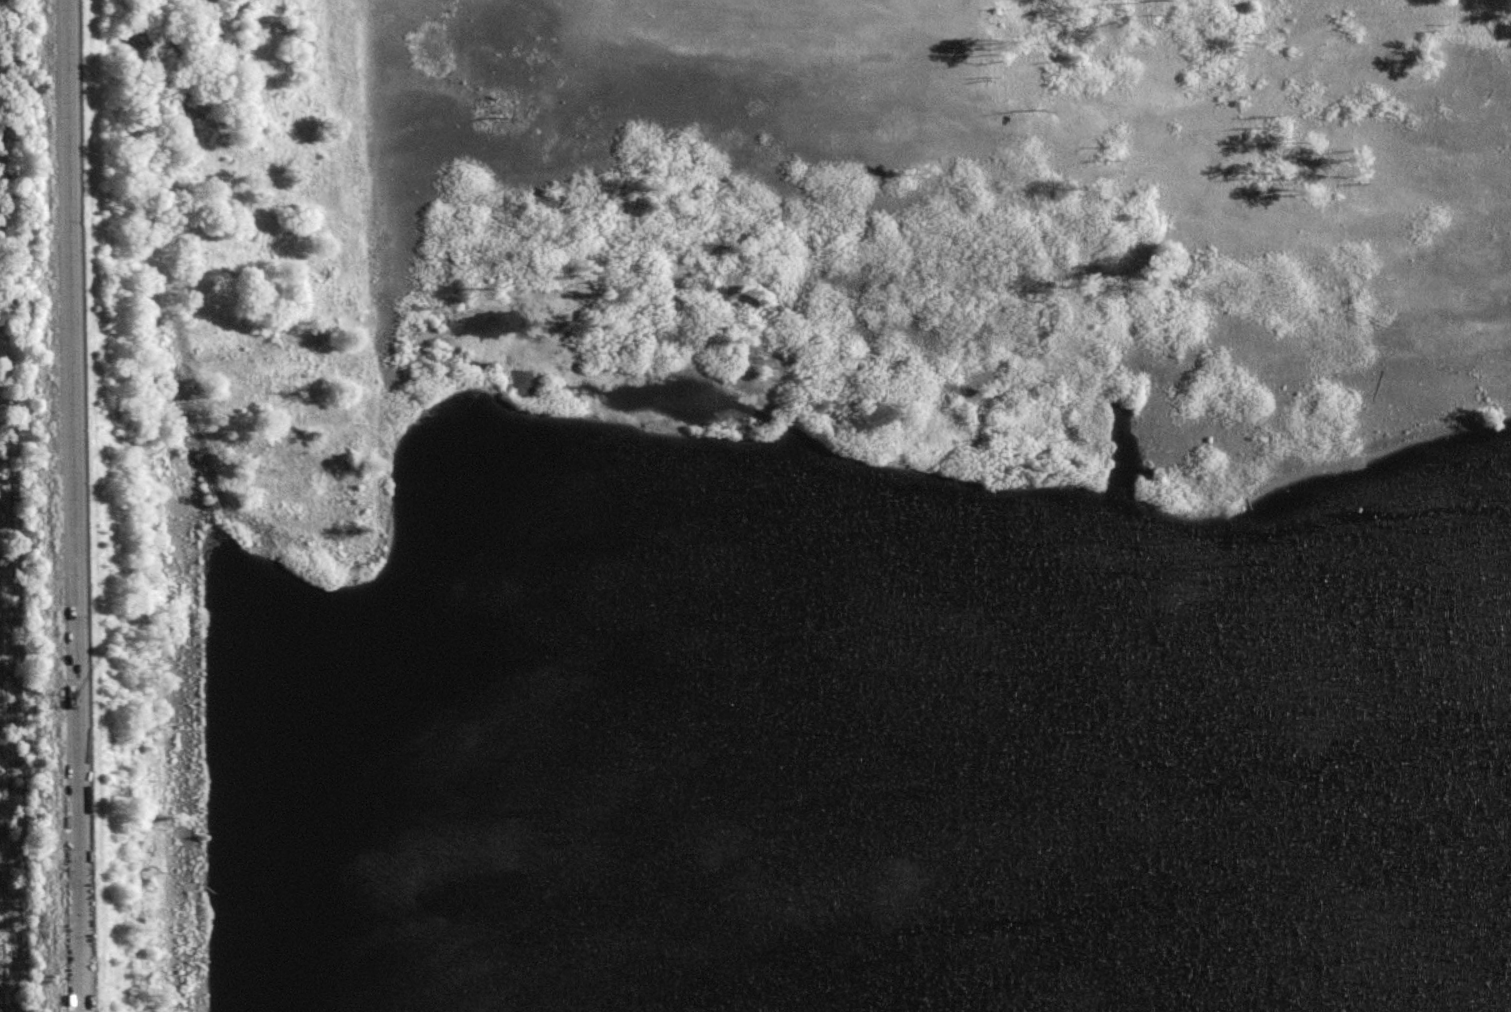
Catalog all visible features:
road: (74, 506)
river: (1358, 966)

